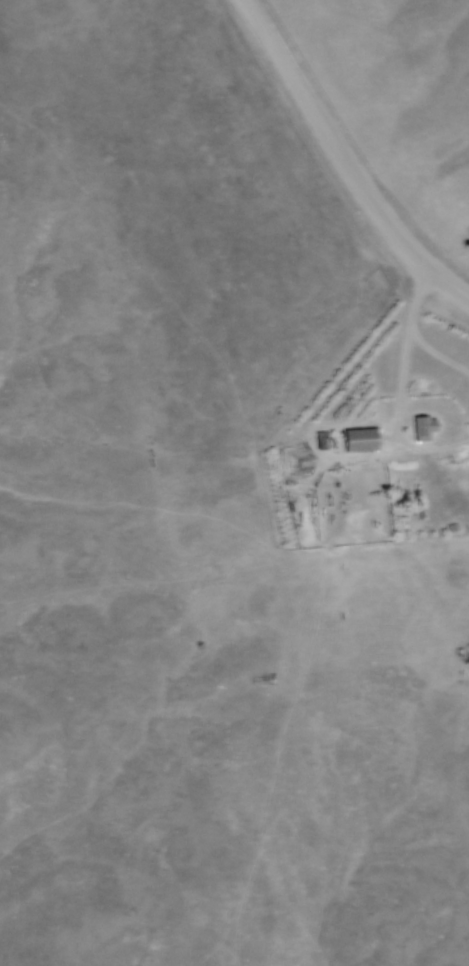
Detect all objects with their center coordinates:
road: (345, 158)
road: (417, 298)
road: (403, 386)
building: (423, 428)
building: (359, 440)

